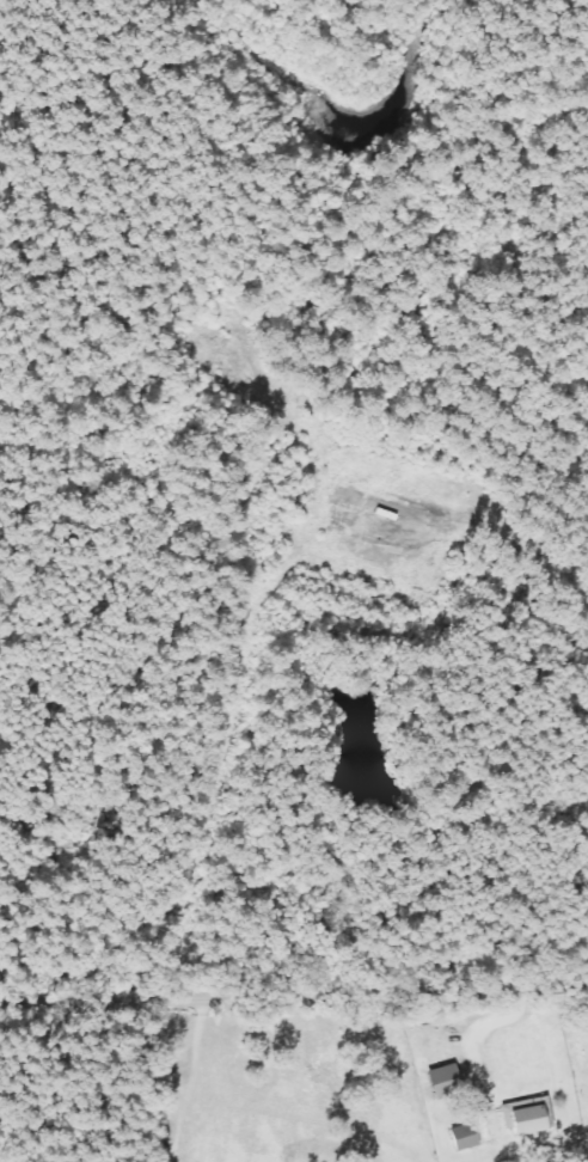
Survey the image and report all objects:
road: (294, 995)
building: (455, 1082)
building: (535, 1118)
building: (473, 1137)

